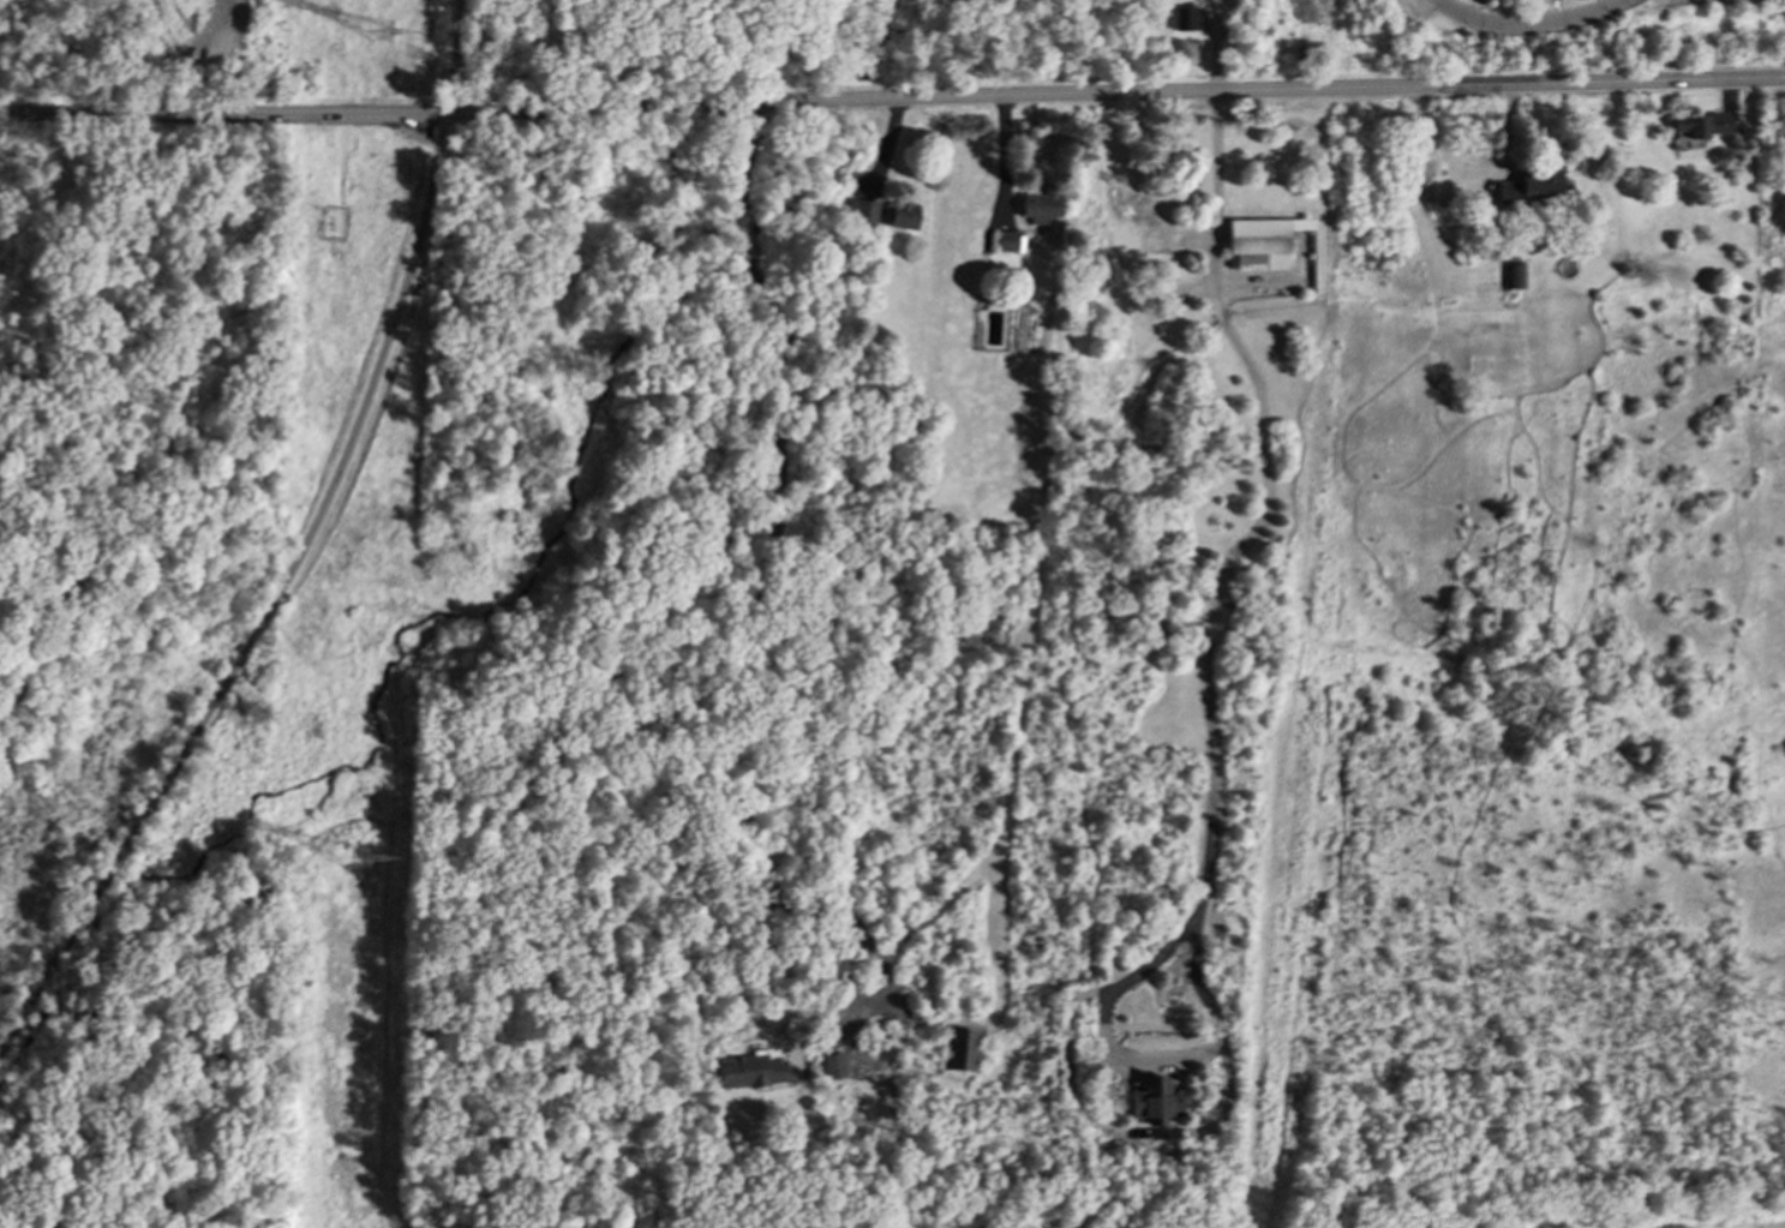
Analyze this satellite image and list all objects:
building: (1487, 0)
building: (1184, 18)
road: (1523, 22)
power tower: (382, 32)
road: (1215, 46)
road: (892, 98)
building: (1701, 124)
road: (742, 155)
road: (1473, 169)
building: (1531, 186)
building: (1038, 204)
building: (859, 209)
building: (902, 215)
road: (744, 229)
building: (1005, 240)
building: (1258, 242)
building: (1513, 275)
road: (1264, 513)
road: (300, 557)
road: (738, 658)
power tower: (357, 859)
building: (958, 1049)
road: (1134, 1062)
building: (832, 1065)
building: (749, 1071)
building: (1152, 1098)
road: (1119, 1128)

